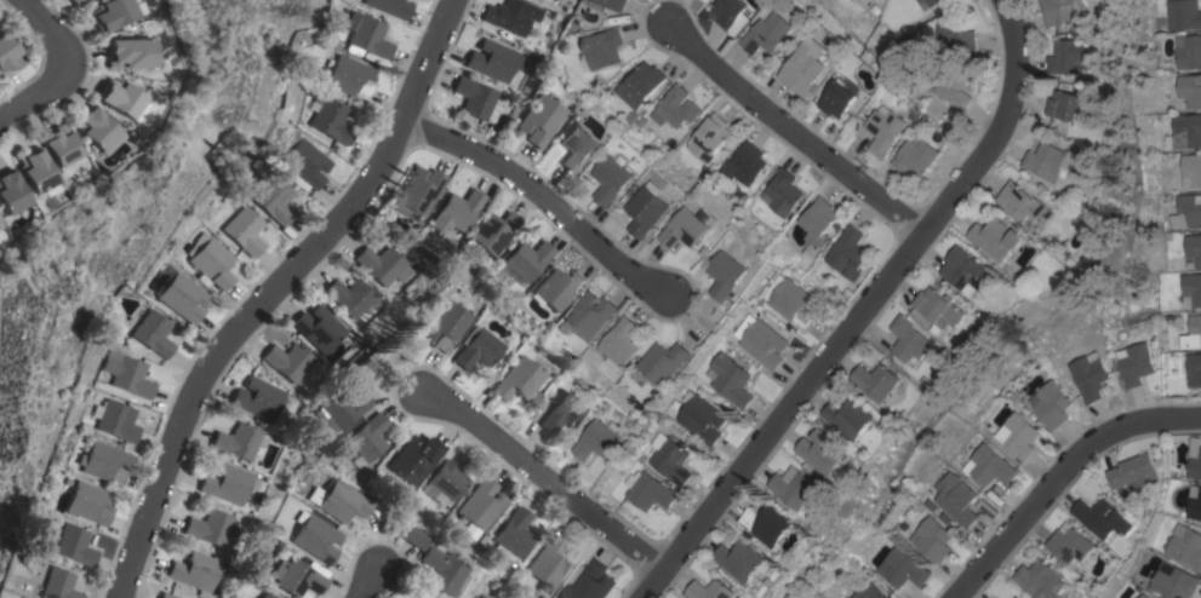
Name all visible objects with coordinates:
building: (919, 0)
building: (75, 2)
building: (933, 2)
building: (616, 4)
building: (390, 7)
building: (1064, 11)
building: (732, 12)
building: (109, 13)
building: (1183, 15)
building: (511, 16)
building: (771, 34)
building: (367, 36)
building: (956, 36)
building: (601, 48)
building: (1188, 51)
building: (126, 54)
building: (7, 56)
building: (1071, 56)
building: (492, 61)
road: (52, 64)
building: (805, 70)
building: (350, 77)
building: (951, 84)
building: (640, 85)
building: (1189, 91)
building: (842, 97)
building: (474, 98)
building: (120, 100)
building: (1071, 104)
building: (676, 107)
building: (331, 120)
building: (538, 120)
building: (95, 130)
building: (887, 130)
building: (1184, 131)
road: (800, 134)
building: (710, 139)
building: (57, 145)
building: (576, 148)
building: (917, 156)
building: (1050, 160)
building: (302, 161)
building: (744, 163)
building: (1191, 171)
building: (34, 172)
building: (611, 179)
building: (783, 192)
building: (8, 194)
building: (419, 194)
building: (273, 197)
road: (545, 200)
building: (1028, 206)
building: (647, 208)
building: (457, 212)
building: (1186, 212)
building: (817, 225)
building: (686, 229)
building: (245, 231)
building: (494, 232)
building: (1000, 237)
building: (1193, 251)
building: (847, 254)
building: (211, 260)
building: (527, 260)
building: (382, 265)
building: (968, 270)
building: (727, 275)
building: (557, 289)
building: (1191, 289)
road: (281, 293)
building: (181, 295)
building: (349, 297)
building: (793, 301)
building: (943, 306)
road: (873, 314)
building: (589, 315)
building: (440, 326)
building: (318, 328)
building: (1191, 333)
building: (153, 334)
building: (914, 341)
building: (619, 343)
building: (764, 344)
building: (471, 349)
building: (287, 361)
building: (663, 361)
building: (1134, 363)
building: (1193, 369)
building: (126, 374)
building: (1088, 375)
building: (730, 379)
building: (517, 380)
building: (880, 380)
building: (257, 398)
building: (341, 403)
building: (1051, 404)
building: (565, 413)
building: (700, 418)
building: (853, 418)
building: (114, 420)
building: (1017, 435)
building: (366, 437)
building: (599, 439)
building: (240, 442)
building: (827, 452)
building: (1195, 458)
building: (411, 459)
building: (670, 459)
building: (101, 462)
building: (989, 466)
building: (1134, 471)
building: (447, 476)
building: (227, 483)
road: (1069, 483)
road: (551, 484)
building: (797, 488)
building: (647, 490)
building: (955, 499)
building: (333, 501)
building: (1195, 502)
building: (86, 504)
building: (480, 505)
building: (1103, 517)
building: (772, 524)
building: (212, 528)
building: (513, 536)
building: (411, 537)
building: (313, 539)
building: (931, 540)
building: (1184, 545)
building: (72, 546)
building: (1071, 551)
building: (743, 560)
building: (550, 563)
building: (902, 568)
building: (194, 571)
building: (436, 571)
building: (293, 579)
building: (1041, 579)
building: (1174, 581)
building: (590, 582)
building: (53, 585)
road: (368, 588)
building: (714, 590)
building: (868, 592)
building: (165, 596)
building: (257, 596)
building: (264, 596)
building: (1143, 596)
building: (1016, 597)
building: (1018, 597)

